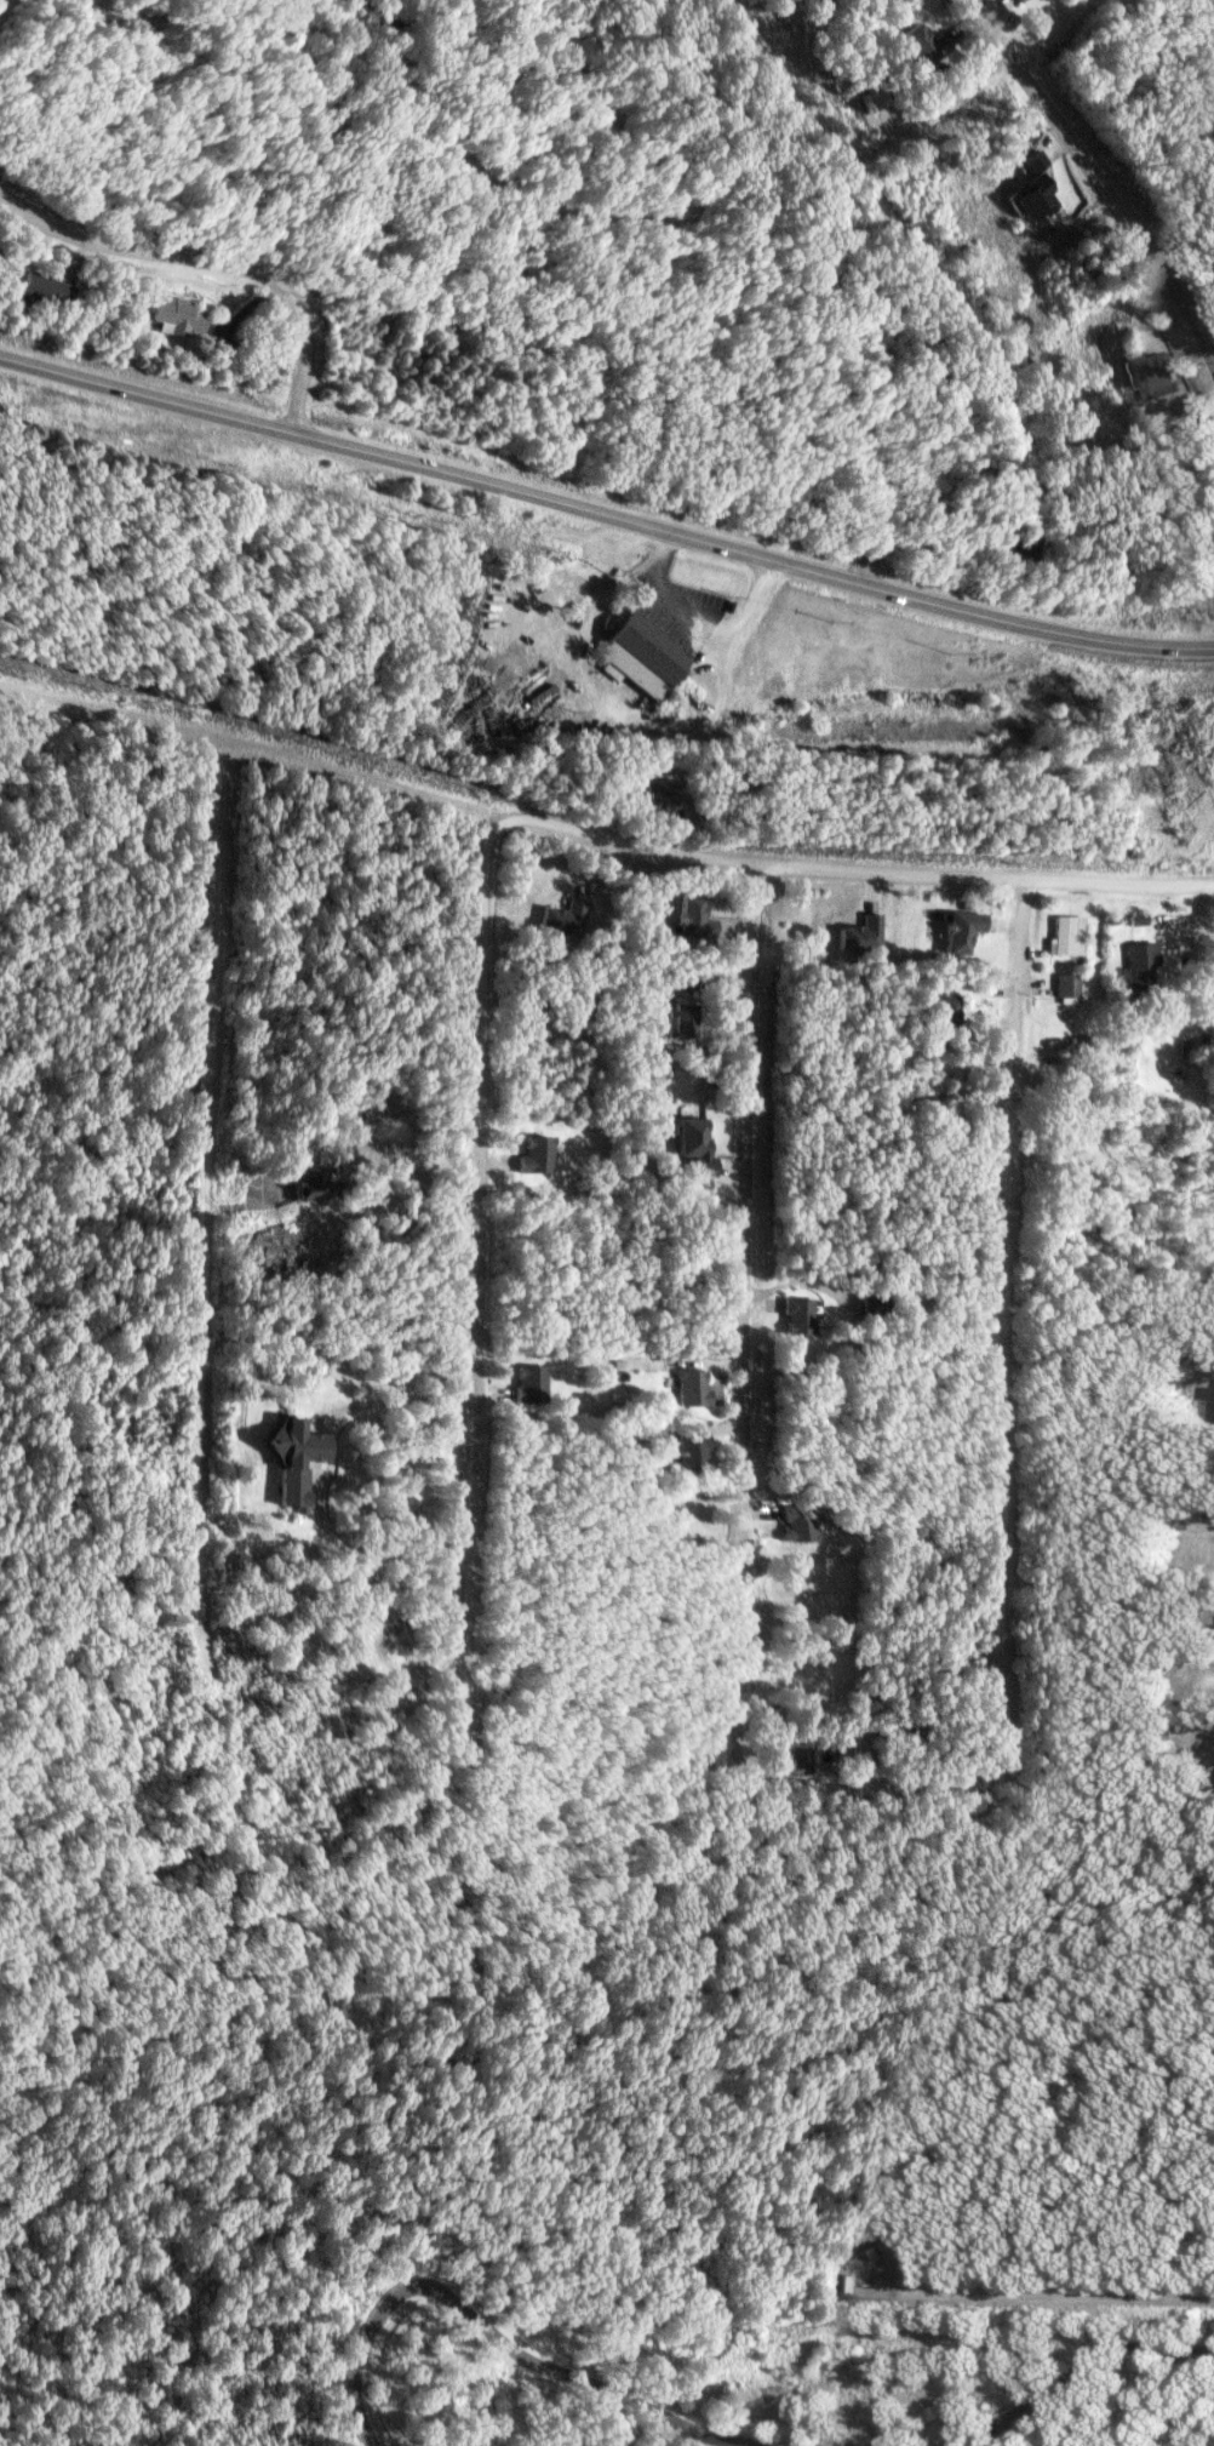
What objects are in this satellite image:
building: (1018, 0)
building: (921, 44)
road: (582, 70)
road: (975, 90)
building: (1032, 160)
road: (1101, 176)
building: (1031, 196)
road: (877, 211)
road: (213, 264)
building: (35, 290)
building: (168, 315)
building: (1146, 372)
road: (605, 514)
road: (536, 587)
road: (700, 623)
building: (640, 656)
building: (657, 795)
road: (599, 835)
building: (691, 918)
building: (561, 919)
building: (1133, 920)
building: (957, 931)
building: (859, 935)
building: (1061, 937)
building: (1138, 966)
building: (1065, 984)
building: (943, 1011)
building: (680, 1021)
building: (693, 1143)
building: (534, 1153)
building: (310, 1181)
road: (208, 1193)
road: (487, 1278)
building: (792, 1314)
road: (745, 1316)
road: (1013, 1319)
building: (527, 1381)
building: (686, 1385)
building: (683, 1448)
building: (291, 1461)
building: (794, 1521)
building: (795, 1754)
road: (489, 2334)
road: (1073, 2360)

